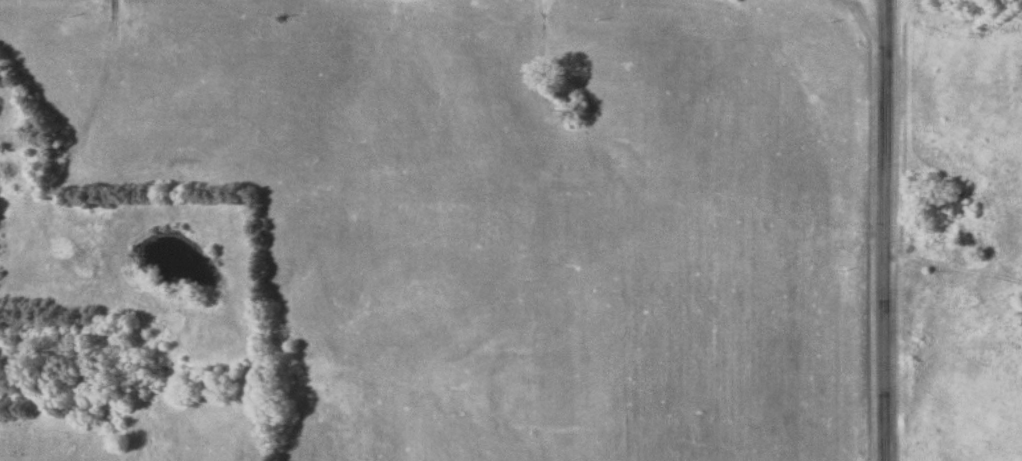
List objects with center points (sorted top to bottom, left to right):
road: (884, 230)

